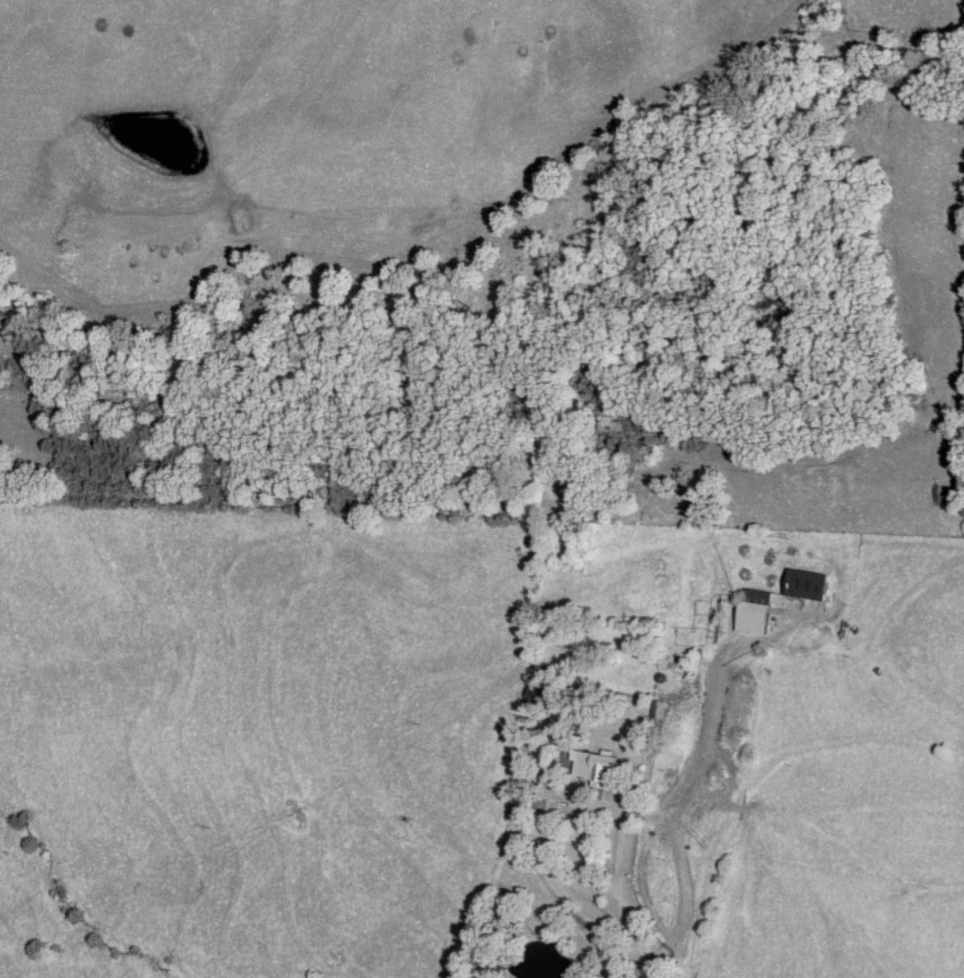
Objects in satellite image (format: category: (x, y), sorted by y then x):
building: (805, 586)
building: (752, 612)
building: (656, 714)
road: (696, 766)
building: (592, 768)
road: (587, 804)
road: (632, 933)

